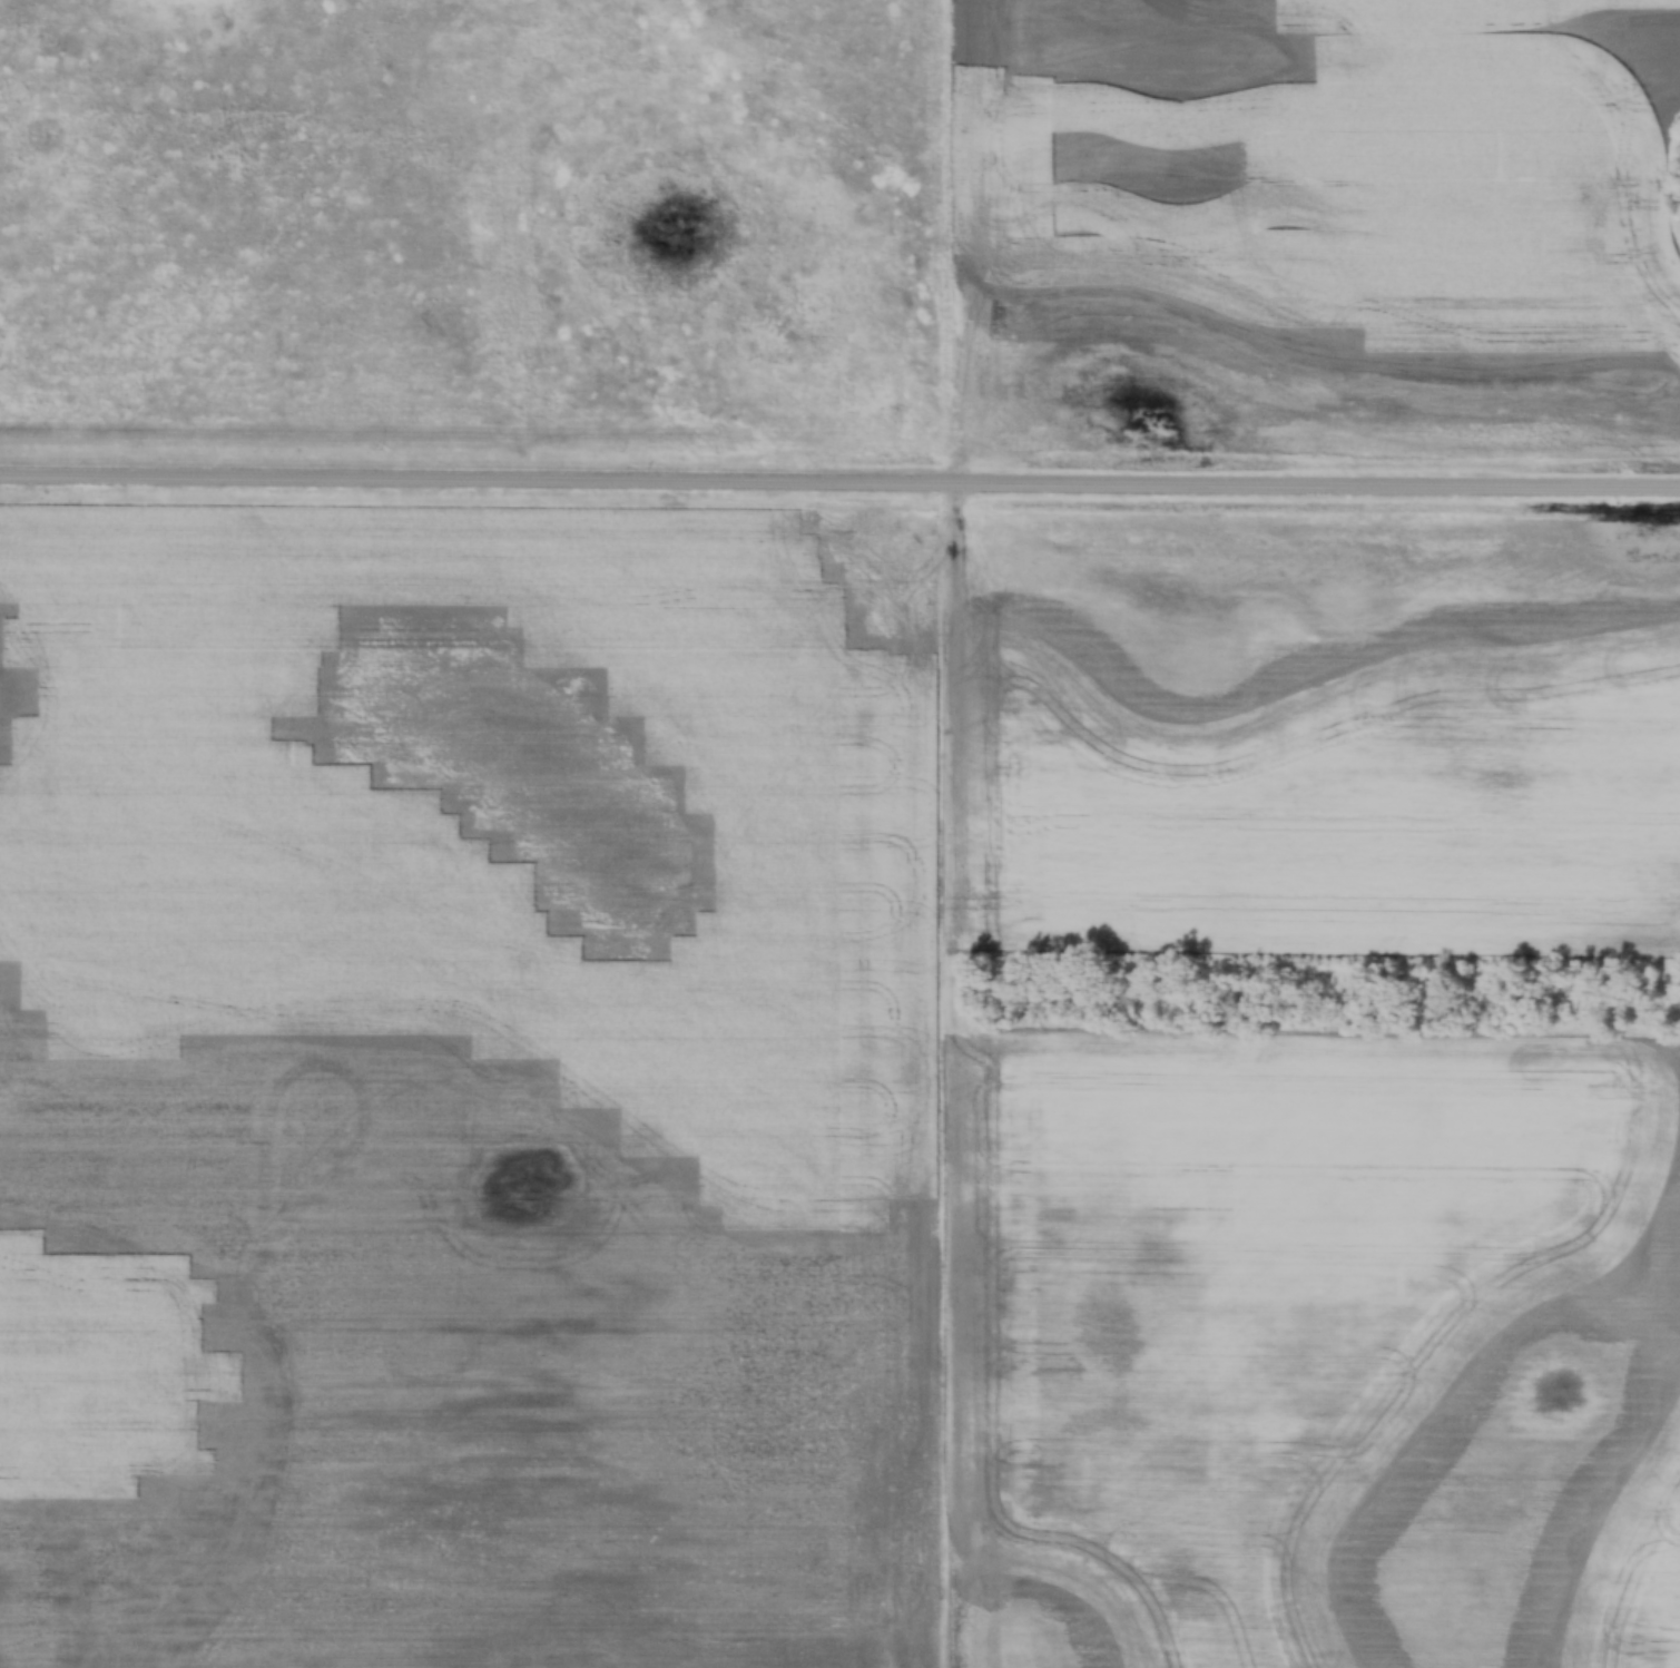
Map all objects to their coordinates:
road: (839, 483)

